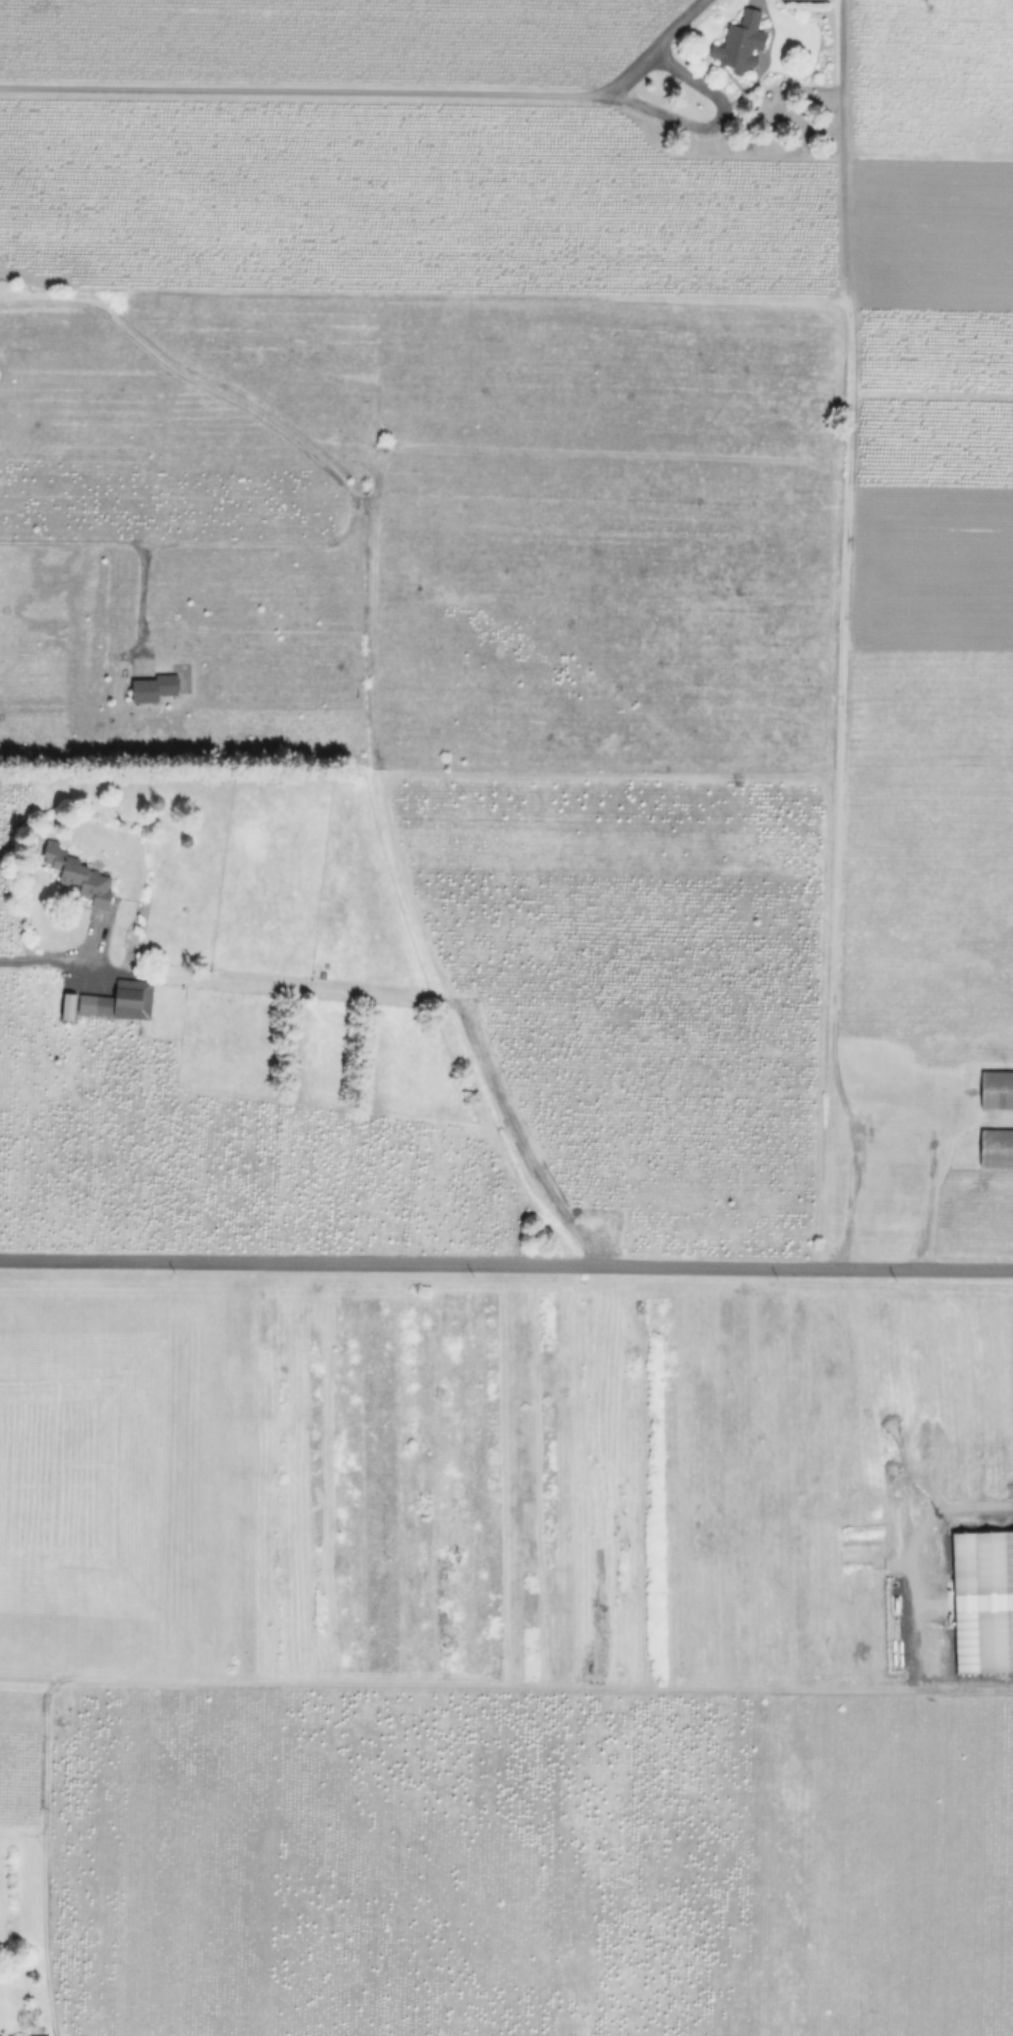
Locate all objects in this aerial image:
building: (803, 0)
building: (743, 42)
road: (302, 91)
road: (722, 102)
road: (334, 480)
road: (138, 599)
building: (155, 688)
building: (81, 876)
road: (46, 957)
building: (122, 1001)
building: (997, 1091)
road: (927, 1132)
building: (996, 1150)
road: (506, 1262)
road: (856, 1690)
road: (36, 1917)

